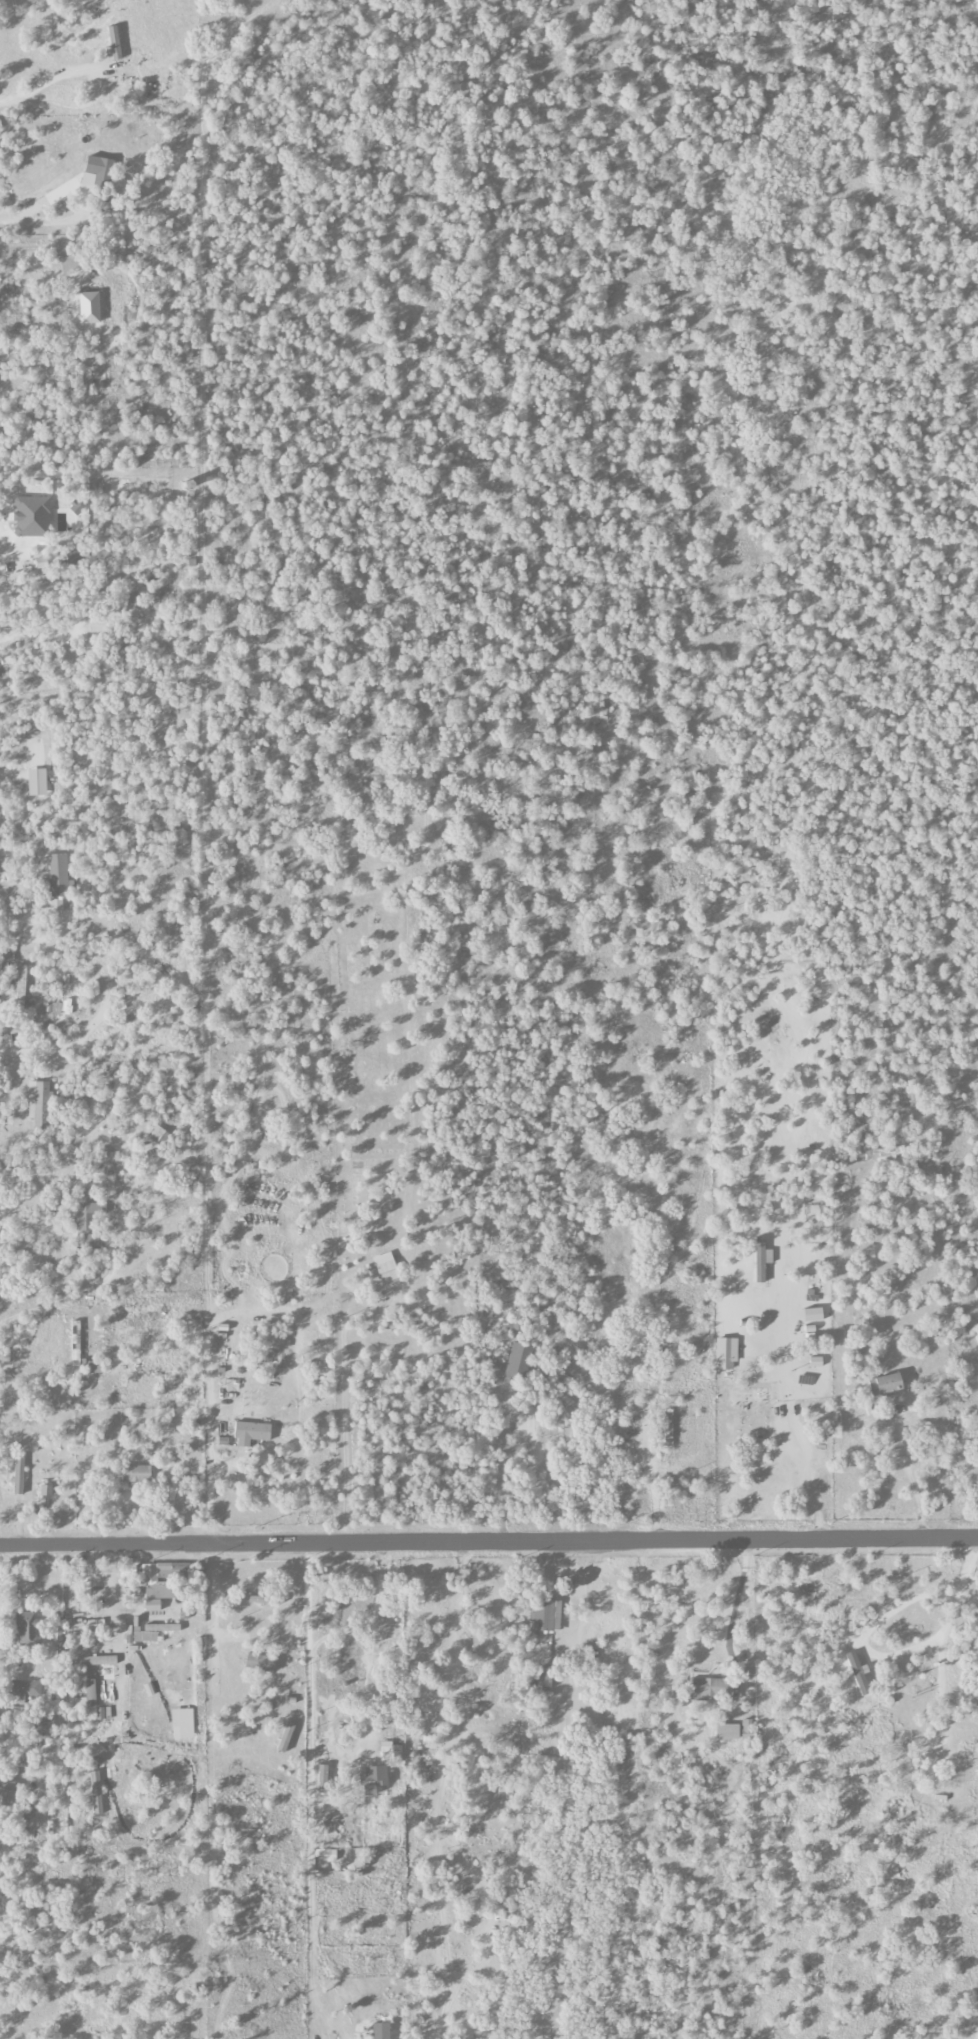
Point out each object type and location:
road: (95, 85)
road: (9, 98)
building: (99, 170)
building: (31, 517)
road: (2, 531)
road: (12, 774)
building: (36, 782)
building: (57, 875)
building: (55, 905)
road: (55, 925)
road: (1, 931)
building: (20, 987)
road: (96, 1079)
building: (38, 1104)
road: (6, 1108)
building: (157, 1135)
building: (86, 1217)
building: (90, 1243)
building: (760, 1259)
road: (69, 1261)
building: (385, 1267)
road: (286, 1303)
building: (812, 1315)
road: (115, 1347)
building: (78, 1350)
building: (725, 1354)
building: (517, 1363)
building: (884, 1384)
building: (251, 1433)
road: (903, 1461)
road: (809, 1465)
road: (647, 1467)
building: (134, 1474)
building: (18, 1475)
road: (530, 1475)
building: (45, 1490)
road: (489, 1544)
building: (148, 1573)
road: (736, 1597)
building: (261, 1600)
building: (151, 1605)
road: (212, 1613)
building: (545, 1615)
building: (136, 1623)
building: (26, 1627)
building: (153, 1632)
building: (56, 1634)
road: (942, 1644)
road: (375, 1645)
building: (95, 1661)
building: (259, 1662)
building: (543, 1678)
building: (712, 1688)
building: (25, 1690)
building: (84, 1697)
building: (182, 1723)
building: (747, 1728)
building: (727, 1731)
building: (285, 1737)
building: (94, 1760)
building: (373, 1778)
building: (322, 1779)
building: (95, 1793)
building: (8, 1794)
building: (329, 1855)
road: (14, 1878)
building: (380, 2030)

